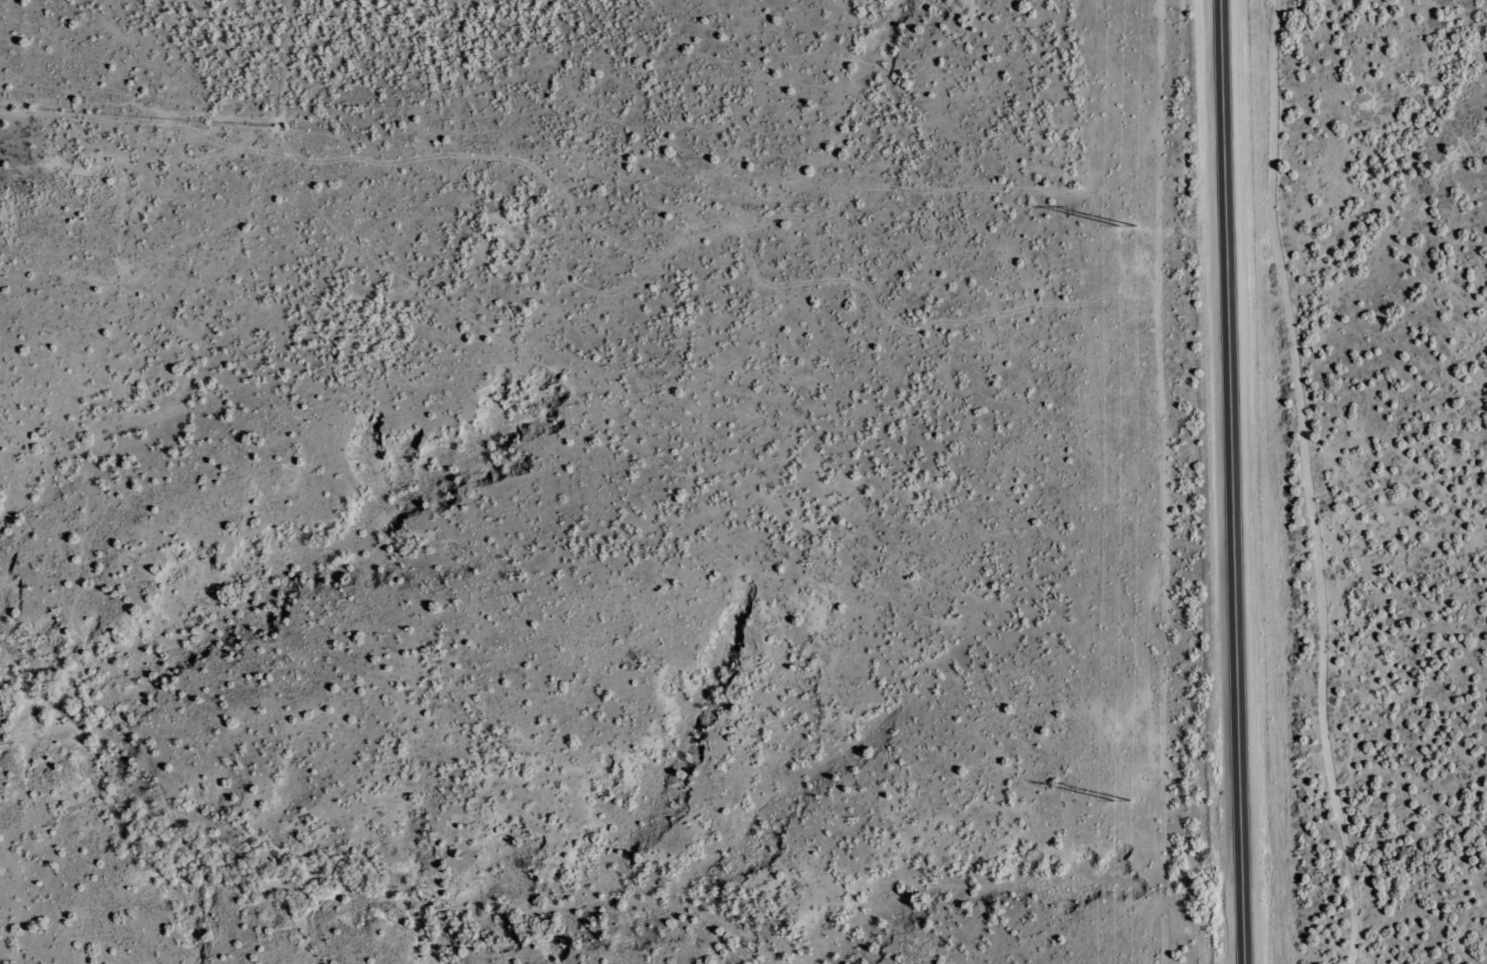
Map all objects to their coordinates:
power tower: (1127, 224)
road: (1230, 482)
power tower: (1119, 802)

